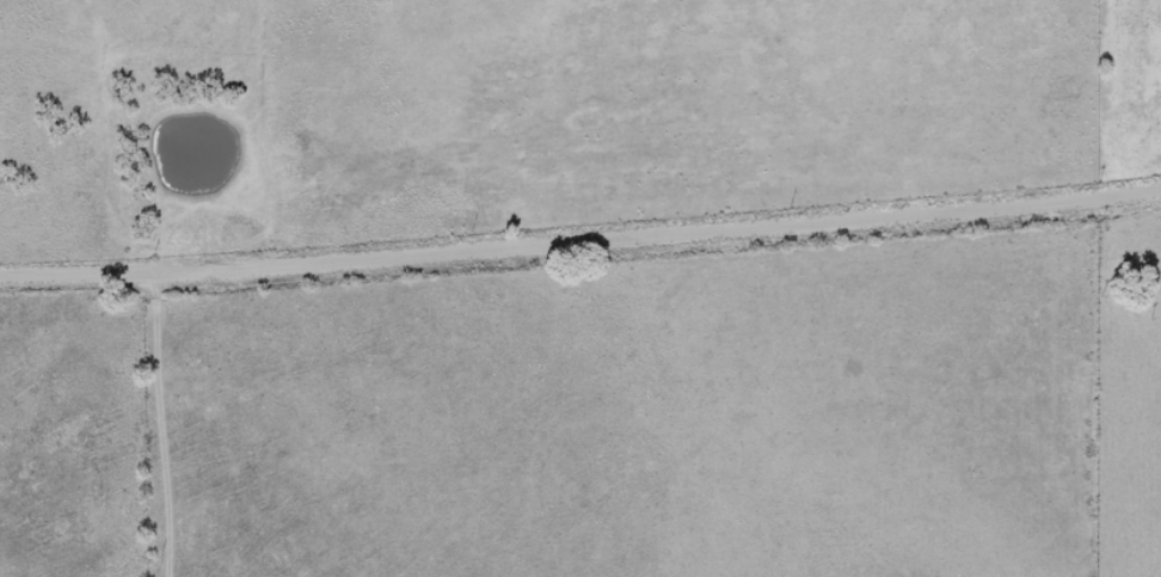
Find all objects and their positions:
road: (579, 228)
road: (188, 406)

